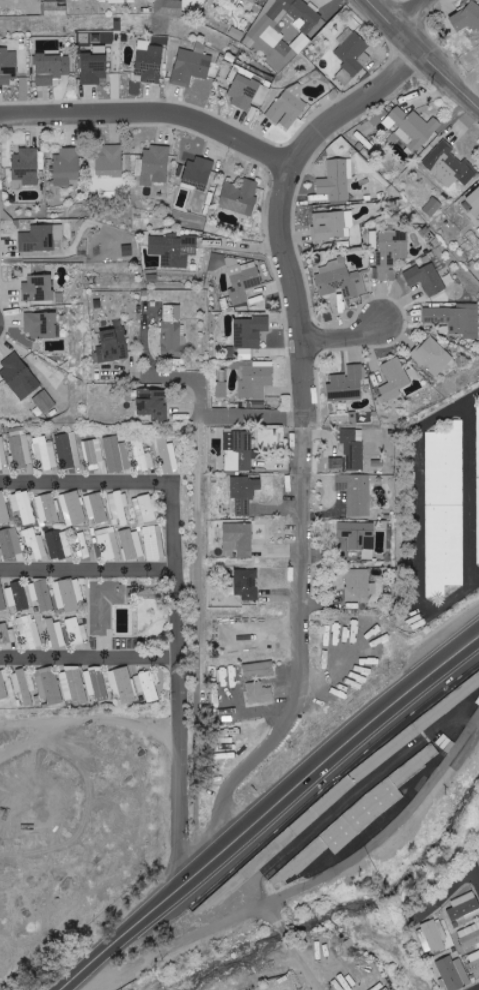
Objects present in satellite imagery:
building: (169, 7)
building: (54, 9)
road: (416, 14)
building: (468, 16)
building: (267, 22)
road: (426, 52)
building: (351, 55)
building: (149, 62)
building: (8, 66)
building: (190, 67)
building: (51, 68)
building: (94, 69)
building: (245, 88)
building: (289, 106)
road: (152, 117)
building: (413, 127)
building: (110, 162)
building: (156, 165)
building: (26, 166)
building: (66, 166)
building: (449, 166)
building: (198, 173)
building: (336, 180)
building: (240, 197)
road: (287, 203)
building: (474, 203)
building: (432, 207)
building: (333, 225)
building: (42, 238)
building: (173, 251)
building: (391, 253)
building: (426, 279)
building: (339, 280)
building: (242, 282)
building: (38, 288)
building: (455, 319)
building: (41, 325)
building: (173, 332)
building: (250, 332)
road: (346, 342)
building: (112, 346)
building: (432, 356)
building: (19, 376)
building: (394, 379)
building: (256, 381)
building: (347, 384)
building: (222, 389)
building: (44, 402)
building: (152, 402)
road: (208, 415)
building: (20, 448)
building: (353, 448)
building: (68, 451)
building: (239, 451)
building: (93, 453)
building: (45, 454)
building: (2, 455)
building: (116, 455)
building: (167, 455)
building: (142, 457)
building: (336, 463)
building: (478, 465)
road: (172, 486)
building: (244, 493)
building: (356, 493)
building: (119, 506)
building: (446, 506)
building: (23, 507)
building: (97, 508)
building: (4, 509)
building: (47, 509)
building: (72, 509)
building: (147, 509)
building: (359, 537)
building: (478, 538)
building: (239, 539)
building: (154, 542)
building: (58, 544)
building: (108, 544)
building: (132, 544)
building: (35, 545)
building: (80, 545)
building: (11, 547)
road: (90, 573)
building: (246, 584)
building: (359, 586)
building: (42, 595)
building: (68, 595)
building: (17, 597)
building: (2, 599)
building: (104, 605)
building: (29, 632)
building: (54, 632)
building: (76, 632)
building: (7, 635)
road: (299, 653)
road: (91, 659)
building: (259, 670)
building: (3, 684)
building: (24, 685)
building: (49, 685)
building: (122, 685)
building: (73, 686)
building: (146, 686)
building: (259, 693)
building: (226, 726)
building: (79, 744)
road: (185, 771)
building: (36, 803)
road: (271, 811)
building: (350, 824)
road: (478, 880)
road: (288, 894)
road: (446, 898)
building: (463, 908)
road: (274, 917)
road: (285, 931)
building: (435, 935)
building: (470, 936)
building: (474, 963)
road: (304, 964)
building: (453, 974)

